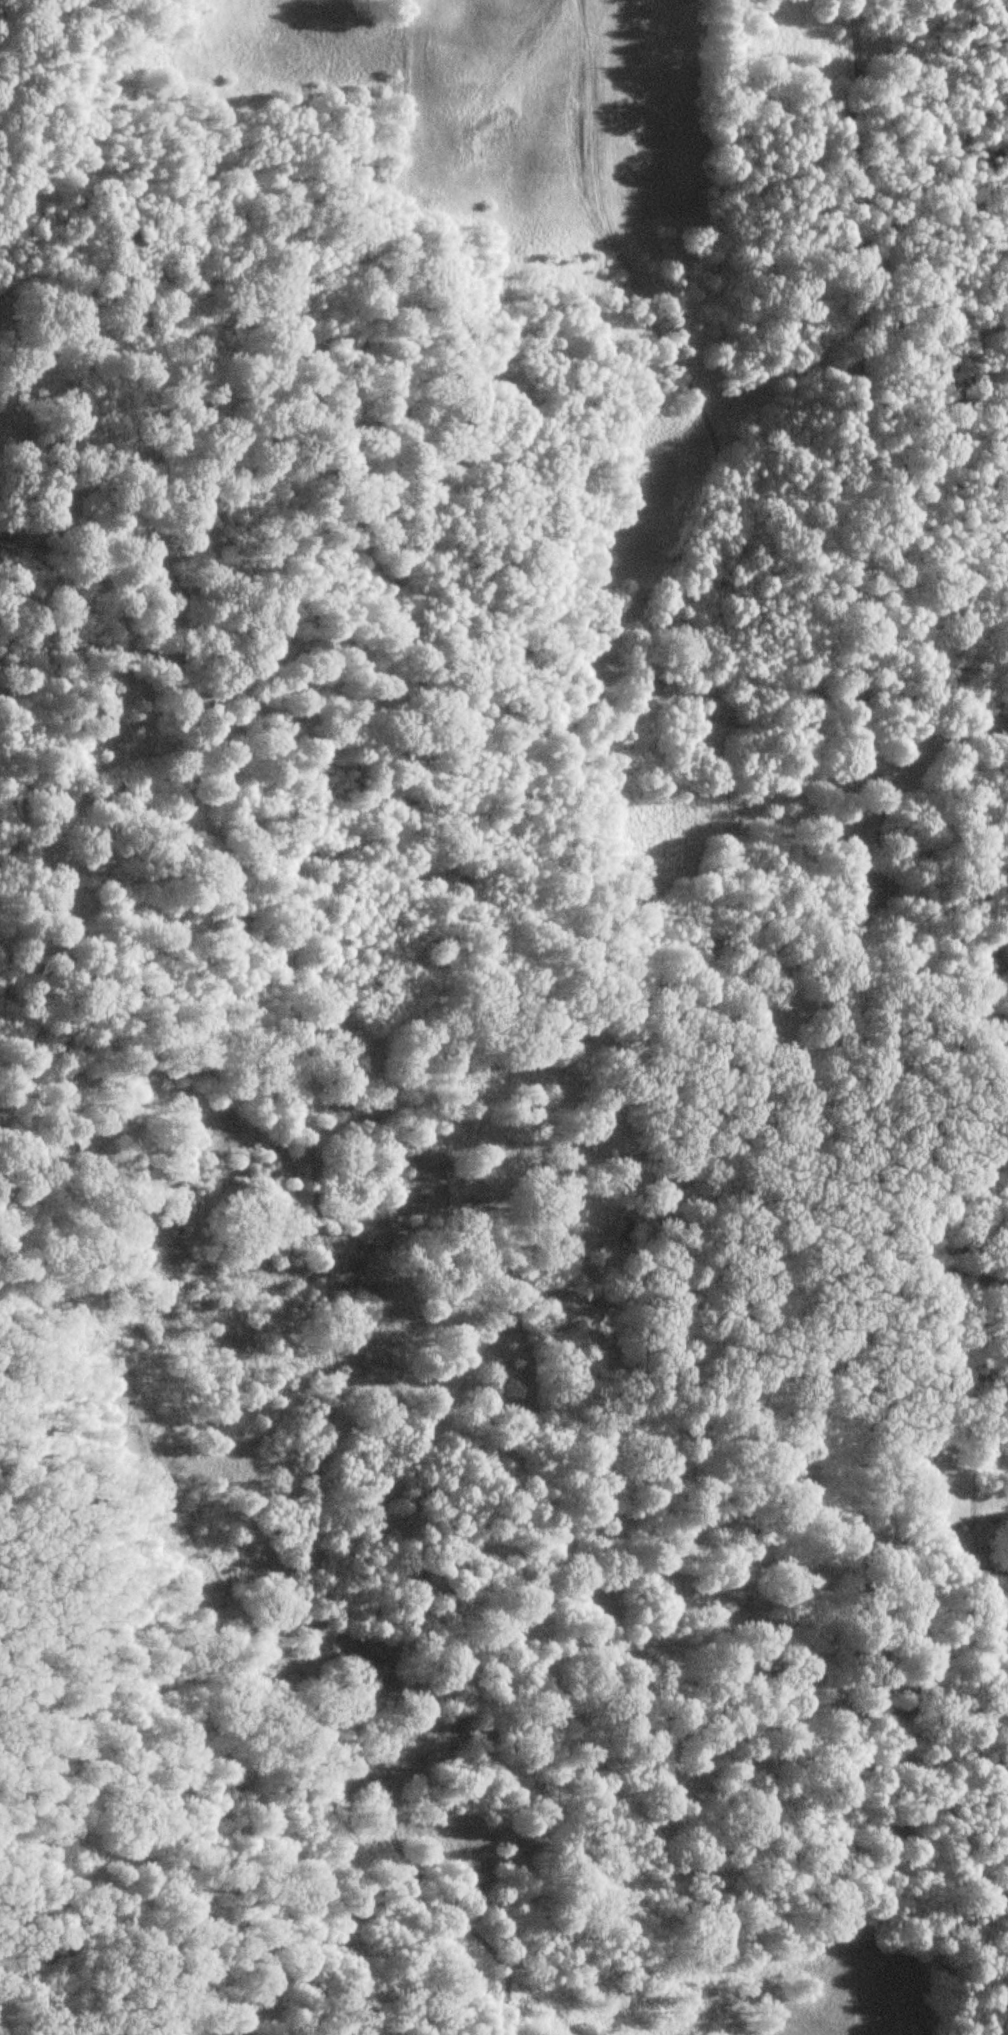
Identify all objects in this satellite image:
road: (477, 832)
road: (192, 1530)
road: (447, 1859)

